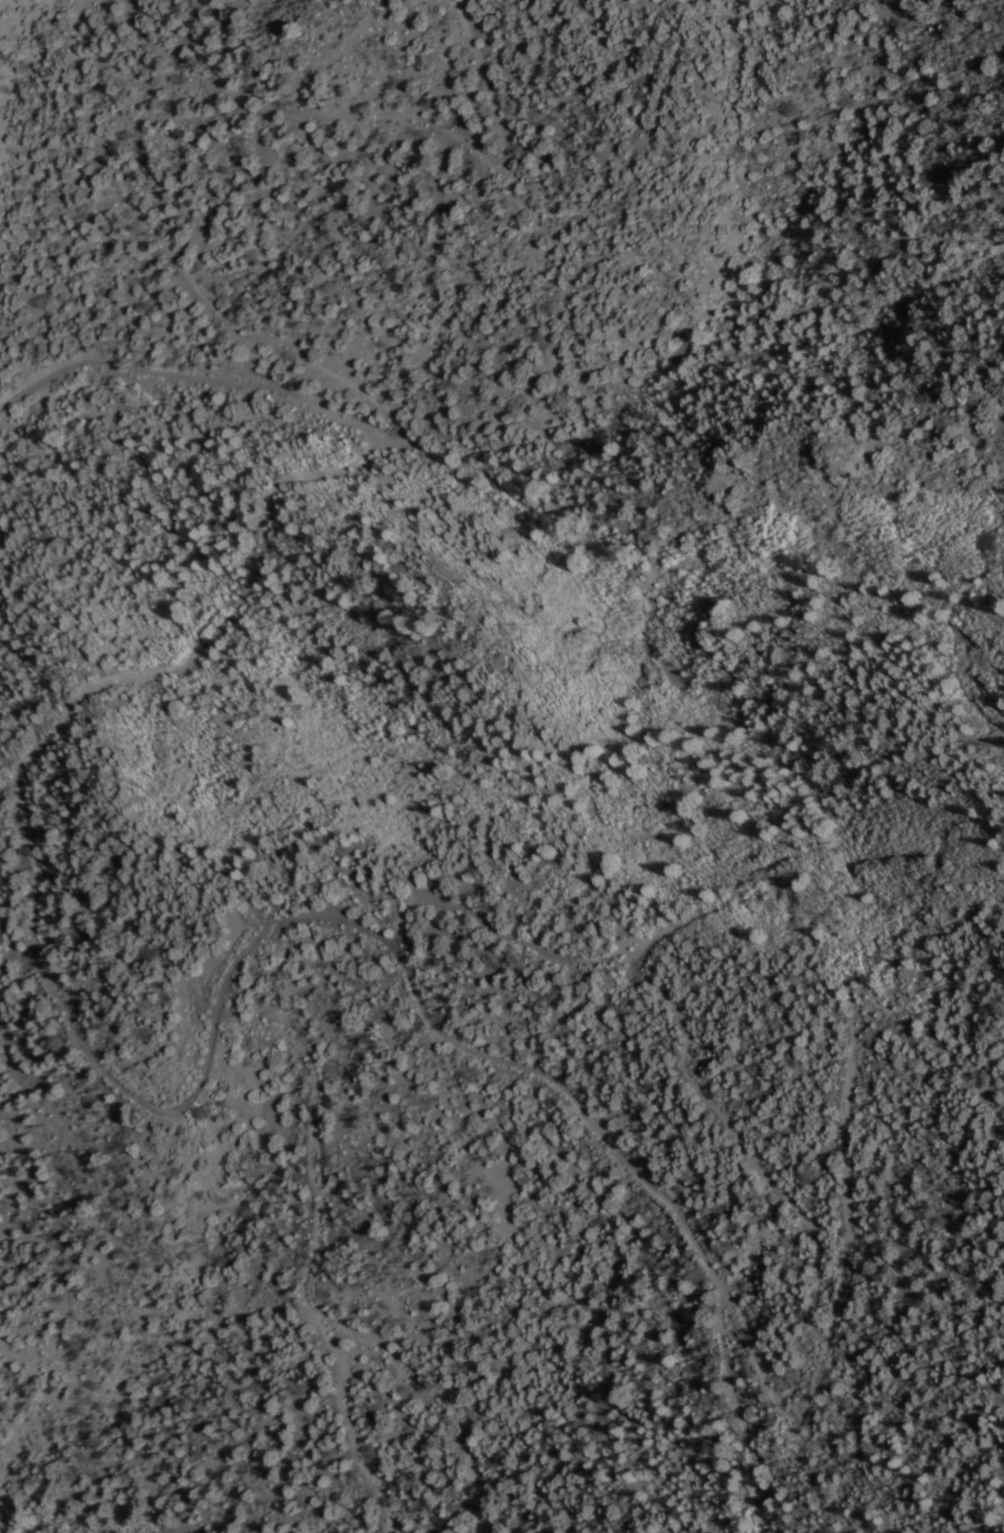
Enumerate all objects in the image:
road: (150, 91)
road: (54, 758)
road: (705, 1262)

